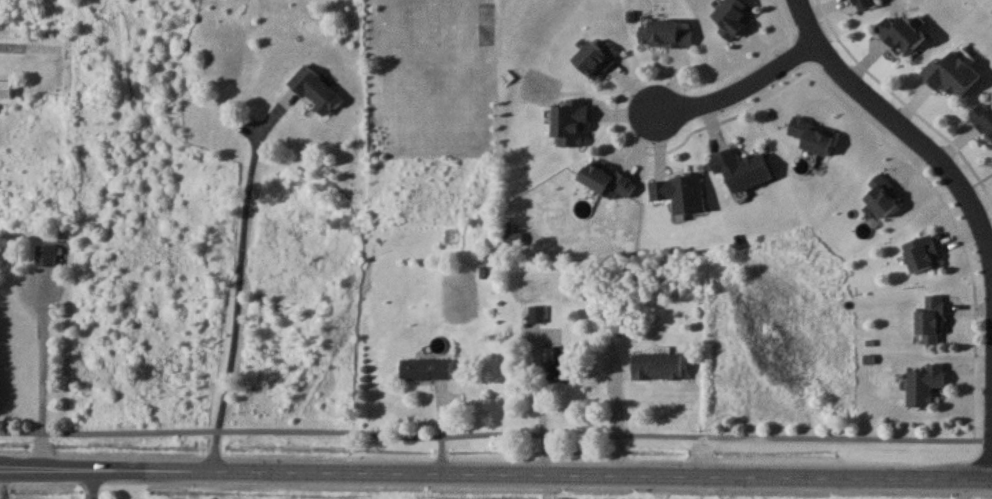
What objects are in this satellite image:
building: (863, 4)
building: (663, 33)
building: (902, 34)
building: (595, 58)
building: (952, 74)
building: (5, 88)
road: (740, 88)
building: (314, 89)
building: (983, 117)
building: (569, 123)
road: (901, 123)
building: (812, 135)
building: (741, 168)
building: (605, 179)
building: (679, 191)
building: (882, 195)
building: (922, 252)
building: (45, 254)
road: (236, 280)
building: (536, 312)
building: (930, 319)
building: (556, 362)
building: (657, 365)
building: (424, 368)
road: (42, 370)
building: (924, 382)
road: (539, 418)
road: (495, 433)
road: (496, 471)
road: (88, 483)

